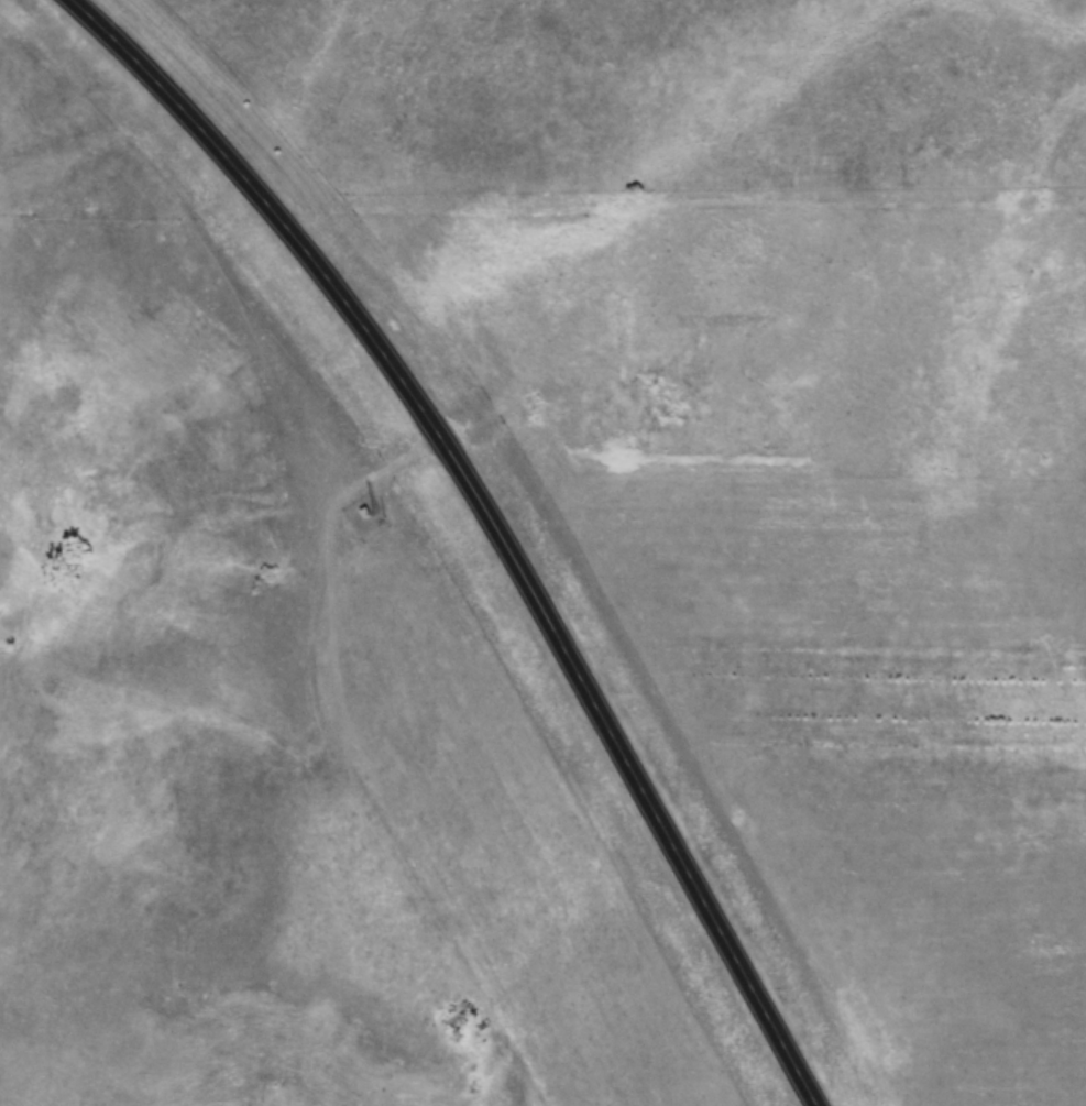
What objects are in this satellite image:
road: (482, 519)

